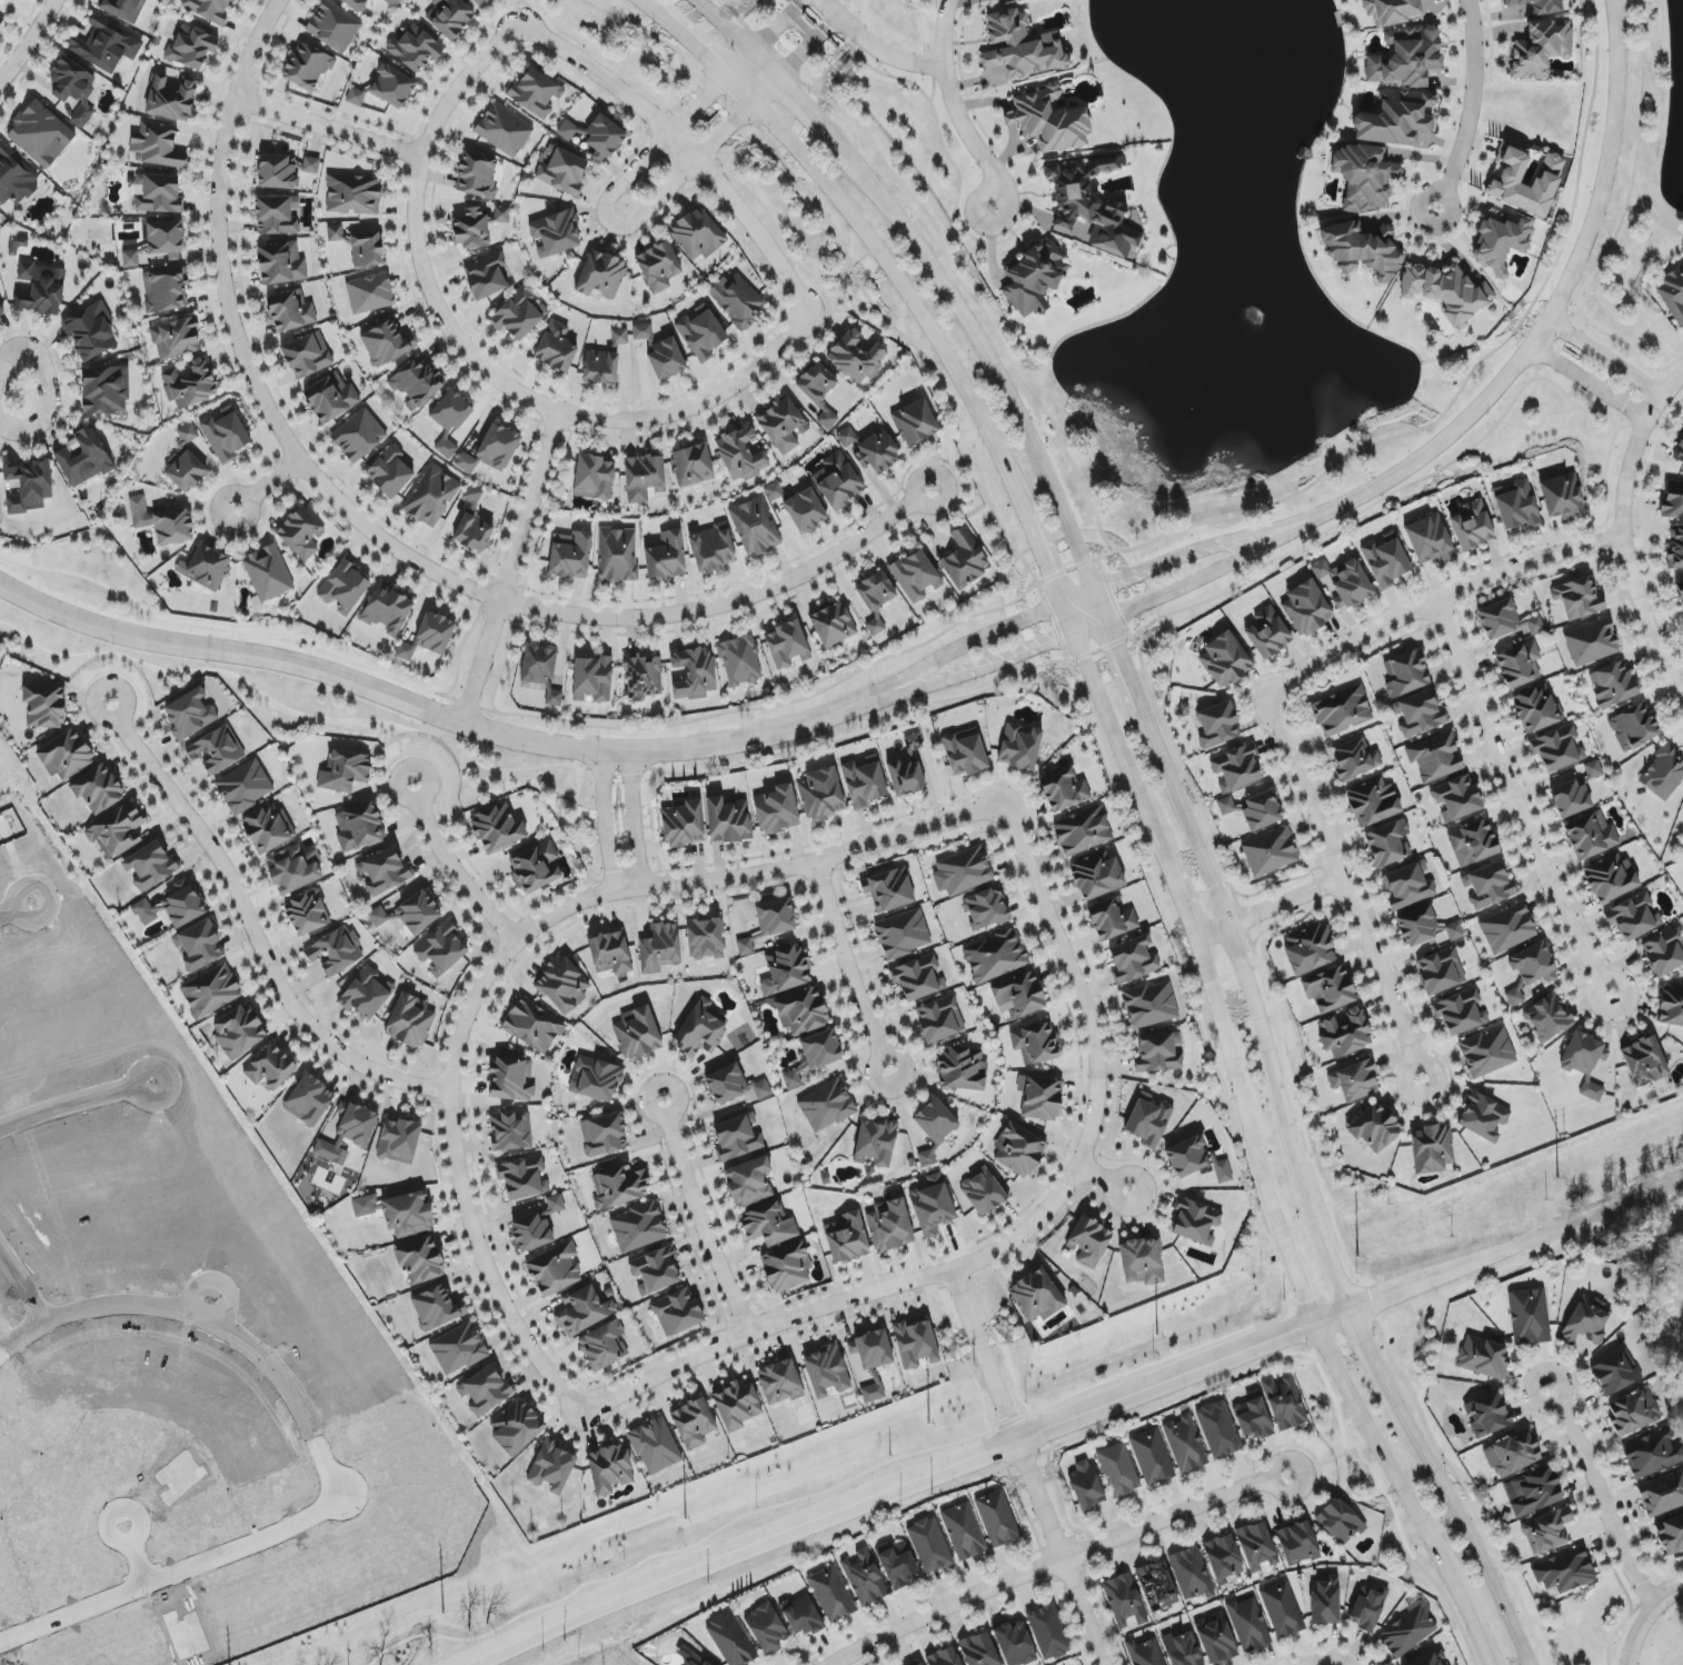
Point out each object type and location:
building: (0, 2)
building: (392, 2)
building: (478, 2)
road: (796, 2)
road: (650, 6)
building: (1536, 7)
building: (125, 9)
building: (208, 10)
building: (1394, 10)
building: (449, 17)
road: (738, 21)
road: (829, 22)
road: (799, 26)
building: (333, 27)
road: (920, 27)
road: (736, 37)
road: (28, 42)
building: (191, 47)
building: (1020, 47)
building: (106, 48)
building: (416, 50)
building: (1540, 50)
road: (708, 54)
building: (1405, 57)
road: (903, 59)
building: (308, 67)
road: (933, 81)
building: (73, 88)
building: (387, 88)
building: (536, 93)
road: (680, 96)
building: (170, 99)
road: (1466, 107)
road: (813, 118)
building: (1049, 119)
building: (1395, 119)
road: (935, 120)
road: (330, 129)
building: (504, 130)
road: (967, 131)
road: (985, 133)
building: (40, 134)
building: (597, 137)
building: (157, 146)
building: (561, 170)
road: (1633, 170)
building: (282, 171)
building: (477, 176)
building: (1364, 177)
building: (14, 180)
building: (1504, 181)
building: (157, 193)
building: (353, 195)
road: (1007, 206)
building: (1091, 206)
building: (501, 215)
building: (276, 216)
road: (611, 221)
building: (471, 229)
building: (698, 233)
building: (555, 235)
building: (1503, 238)
building: (158, 245)
building: (1361, 251)
building: (281, 263)
building: (658, 267)
road: (854, 272)
building: (486, 276)
building: (601, 276)
building: (1033, 278)
building: (41, 289)
building: (165, 290)
building: (1447, 292)
building: (370, 293)
building: (1672, 293)
road: (906, 297)
building: (737, 300)
building: (0, 309)
fountain: (1252, 310)
building: (290, 312)
building: (518, 315)
building: (643, 331)
building: (701, 331)
building: (90, 332)
road: (1542, 336)
building: (176, 339)
building: (385, 343)
building: (556, 348)
building: (306, 357)
building: (856, 357)
road: (1609, 357)
building: (666, 359)
building: (417, 382)
road: (1591, 382)
building: (190, 385)
road: (49, 389)
building: (106, 390)
building: (819, 392)
building: (330, 398)
road: (1013, 401)
road: (668, 412)
building: (449, 420)
building: (915, 422)
building: (783, 425)
building: (225, 435)
building: (359, 436)
building: (847, 437)
building: (492, 450)
building: (743, 452)
building: (1679, 452)
building: (877, 453)
building: (82, 458)
building: (186, 460)
building: (693, 466)
building: (390, 472)
building: (594, 478)
building: (644, 478)
building: (838, 481)
road: (270, 482)
road: (963, 482)
building: (29, 486)
building: (774, 491)
building: (432, 497)
building: (1562, 497)
building: (1673, 499)
road: (924, 506)
building: (1516, 506)
building: (805, 510)
road: (1364, 510)
building: (162, 522)
building: (474, 524)
road: (380, 525)
building: (1472, 526)
building: (755, 527)
road: (1032, 530)
road: (1624, 532)
building: (300, 535)
building: (1430, 539)
building: (713, 548)
building: (1675, 549)
building: (618, 555)
building: (570, 556)
building: (666, 557)
road: (1178, 558)
building: (965, 559)
building: (1386, 560)
building: (206, 568)
road: (514, 568)
building: (267, 576)
building: (916, 576)
road: (1185, 579)
road: (1068, 584)
building: (1344, 584)
building: (343, 588)
building: (1680, 590)
building: (1579, 598)
building: (876, 599)
road: (1437, 602)
building: (1307, 608)
building: (388, 610)
road: (1032, 620)
building: (1506, 621)
building: (833, 624)
road: (949, 629)
building: (1268, 634)
road: (1099, 636)
building: (430, 637)
building: (1591, 642)
building: (787, 645)
road: (1093, 651)
building: (1225, 660)
building: (740, 661)
road: (935, 666)
building: (1518, 666)
road: (313, 668)
road: (974, 670)
building: (694, 674)
building: (1406, 674)
building: (643, 677)
road: (114, 678)
building: (592, 680)
building: (1612, 685)
road: (1104, 705)
building: (44, 706)
building: (1536, 708)
building: (1342, 711)
road: (296, 712)
building: (1418, 714)
building: (190, 715)
road: (1149, 722)
building: (1217, 726)
building: (1633, 727)
road: (855, 735)
road: (751, 736)
building: (1019, 747)
building: (1556, 748)
building: (217, 750)
building: (965, 752)
building: (66, 756)
building: (1435, 757)
road: (420, 758)
road: (398, 759)
building: (1354, 759)
building: (1236, 768)
road: (616, 769)
building: (910, 769)
building: (1593, 769)
building: (345, 771)
building: (1663, 775)
building: (865, 782)
building: (245, 787)
building: (98, 789)
building: (1064, 790)
building: (821, 795)
building: (1457, 798)
building: (1570, 798)
building: (1373, 801)
road: (1516, 801)
building: (1226, 806)
building: (777, 809)
building: (1261, 811)
road: (636, 817)
road: (1205, 818)
road: (607, 819)
road: (649, 820)
building: (728, 820)
building: (684, 824)
road: (575, 827)
building: (359, 828)
building: (497, 828)
building: (266, 829)
building: (1083, 830)
building: (117, 831)
building: (1591, 836)
building: (1388, 844)
building: (1473, 844)
building: (1271, 851)
building: (149, 866)
road: (450, 868)
building: (537, 868)
building: (291, 870)
building: (384, 871)
building: (963, 871)
road: (820, 876)
building: (1097, 876)
building: (1610, 879)
road: (690, 880)
building: (1488, 886)
building: (1407, 887)
building: (888, 889)
road: (1345, 890)
road: (1184, 903)
building: (172, 907)
road: (1064, 907)
road: (14, 908)
building: (985, 908)
road: (1271, 909)
building: (307, 914)
building: (409, 914)
building: (1632, 917)
building: (776, 918)
building: (1112, 919)
building: (1425, 927)
road: (255, 928)
building: (1507, 928)
building: (903, 934)
building: (705, 939)
building: (199, 946)
building: (745, 947)
building: (659, 948)
building: (1309, 949)
building: (441, 950)
building: (335, 951)
building: (1664, 953)
building: (610, 954)
building: (996, 956)
building: (1133, 959)
road: (853, 967)
road: (1191, 967)
building: (786, 970)
building: (1530, 970)
building: (1441, 971)
building: (918, 978)
road: (1075, 983)
building: (562, 985)
building: (1330, 989)
building: (211, 991)
building: (1018, 997)
building: (1151, 1005)
building: (1671, 1006)
building: (803, 1011)
building: (1461, 1011)
building: (1547, 1017)
building: (940, 1019)
building: (410, 1021)
building: (701, 1030)
building: (239, 1031)
building: (637, 1034)
building: (1345, 1034)
road: (1266, 1040)
building: (1035, 1043)
building: (821, 1049)
building: (1487, 1053)
building: (1158, 1054)
building: (1644, 1061)
building: (1584, 1063)
building: (270, 1068)
building: (963, 1069)
building: (596, 1078)
building: (794, 1078)
building: (511, 1079)
building: (1354, 1081)
building: (727, 1084)
building: (761, 1089)
road: (380, 1094)
road: (1246, 1097)
building: (1042, 1098)
building: (309, 1100)
road: (74, 1104)
building: (827, 1106)
building: (1483, 1116)
building: (1148, 1123)
building: (348, 1128)
building: (1374, 1128)
building: (510, 1131)
building: (604, 1135)
building: (736, 1139)
building: (399, 1140)
building: (876, 1144)
building: (1432, 1148)
building: (1018, 1150)
road: (665, 1156)
building: (1189, 1156)
building: (1223, 1172)
building: (524, 1177)
power tower: (1556, 1178)
road: (1105, 1179)
building: (749, 1182)
building: (619, 1186)
building: (984, 1193)
road: (1158, 1204)
building: (933, 1206)
building: (399, 1213)
road: (700, 1217)
building: (1196, 1223)
building: (769, 1225)
building: (892, 1225)
building: (537, 1226)
building: (638, 1227)
building: (847, 1238)
road: (478, 1240)
building: (1089, 1242)
building: (421, 1260)
power tower: (1361, 1260)
building: (1142, 1262)
building: (787, 1267)
building: (555, 1269)
building: (656, 1270)
road: (958, 1287)
road: (1306, 1289)
building: (1037, 1296)
road: (840, 1300)
building: (437, 1308)
building: (584, 1310)
building: (678, 1313)
road: (191, 1317)
building: (1528, 1317)
road: (744, 1322)
building: (1585, 1325)
road: (21, 1335)
power tower: (1158, 1338)
building: (915, 1344)
road: (1307, 1344)
building: (604, 1346)
building: (458, 1348)
building: (872, 1349)
road: (1370, 1354)
building: (1483, 1357)
road: (984, 1358)
building: (826, 1372)
road: (1324, 1375)
building: (1613, 1375)
building: (780, 1382)
building: (873, 1389)
building: (485, 1390)
building: (1285, 1404)
building: (737, 1405)
building: (1631, 1414)
building: (1487, 1415)
building: (1253, 1417)
road: (1075, 1420)
building: (694, 1424)
power tower: (928, 1427)
building: (516, 1428)
building: (1218, 1430)
building: (1185, 1444)
building: (655, 1446)
road: (1308, 1454)
building: (1514, 1454)
building: (1652, 1454)
building: (1152, 1457)
road: (1332, 1460)
building: (551, 1466)
building: (609, 1469)
building: (1118, 1470)
road: (1398, 1474)
building: (1086, 1485)
building: (1535, 1492)
road: (1602, 1494)
building: (1662, 1494)
road: (341, 1497)
building: (997, 1518)
building: (1340, 1521)
power tower: (686, 1523)
road: (1464, 1527)
building: (964, 1532)
building: (1547, 1532)
building: (1671, 1535)
road: (1072, 1536)
road: (1073, 1539)
road: (1055, 1543)
building: (1298, 1543)
building: (930, 1545)
building: (1257, 1546)
road: (1078, 1552)
road: (1060, 1555)
road: (137, 1556)
building: (1223, 1558)
road: (1056, 1562)
building: (897, 1564)
road: (1084, 1565)
road: (1046, 1566)
road: (1082, 1569)
building: (1564, 1572)
building: (1192, 1574)
road: (1068, 1575)
road: (168, 1576)
building: (865, 1578)
building: (1157, 1586)
road: (1681, 1589)
building: (833, 1594)
building: (1124, 1601)
road: (922, 1602)
building: (1325, 1602)
building: (1366, 1608)
building: (1283, 1611)
power tower: (444, 1616)
building: (801, 1616)
road: (1645, 1617)
road: (962, 1619)
road: (1067, 1619)
building: (1249, 1624)
building: (767, 1628)
building: (1048, 1632)
building: (1408, 1632)
building: (1216, 1639)
building: (731, 1641)
building: (1015, 1643)
road: (1324, 1644)
road: (1485, 1644)
building: (1183, 1649)
building: (979, 1651)
building: (1145, 1653)
building: (944, 1657)
building: (695, 1659)
road: (1328, 1661)
building: (1427, 1661)
building: (918, 1663)
road: (1347, 1664)

